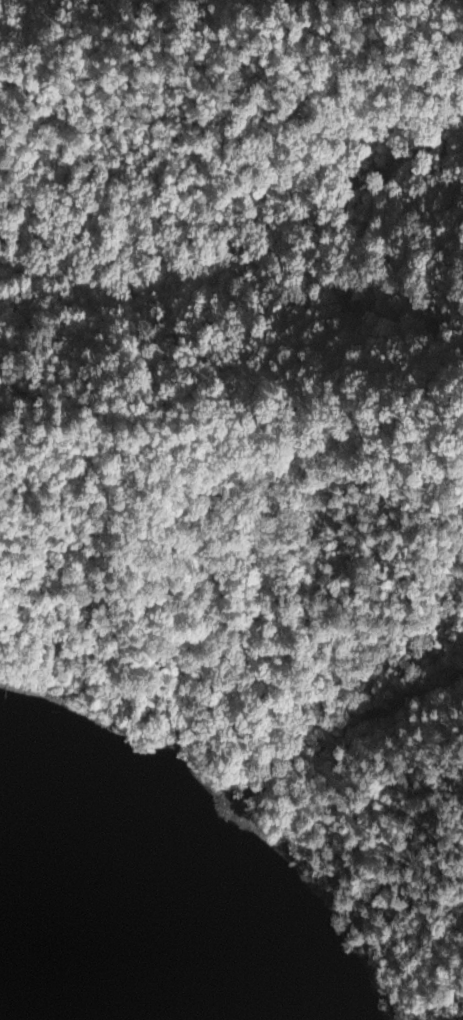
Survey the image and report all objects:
river: (13, 1002)

